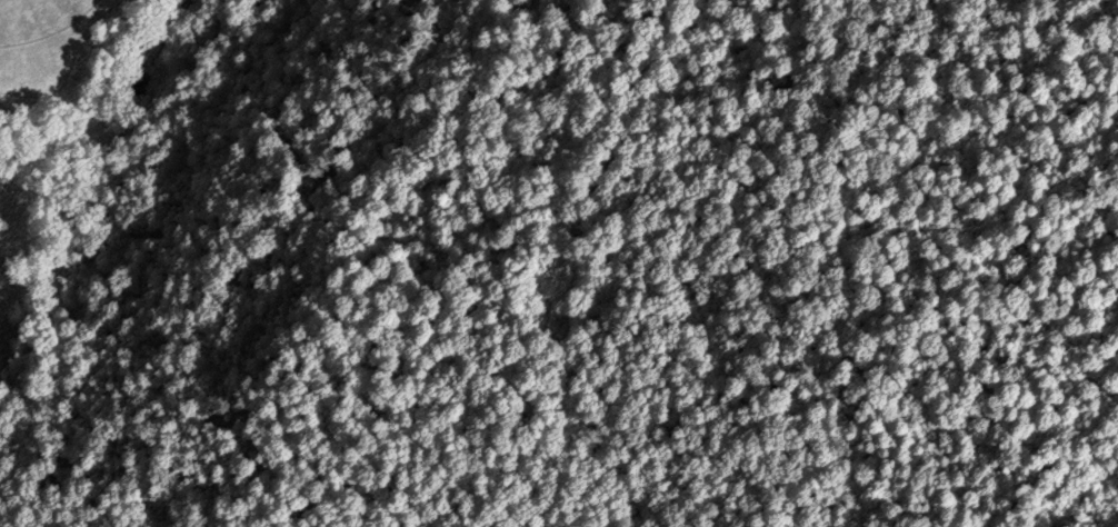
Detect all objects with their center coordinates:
park: (38, 19)
park: (53, 48)

